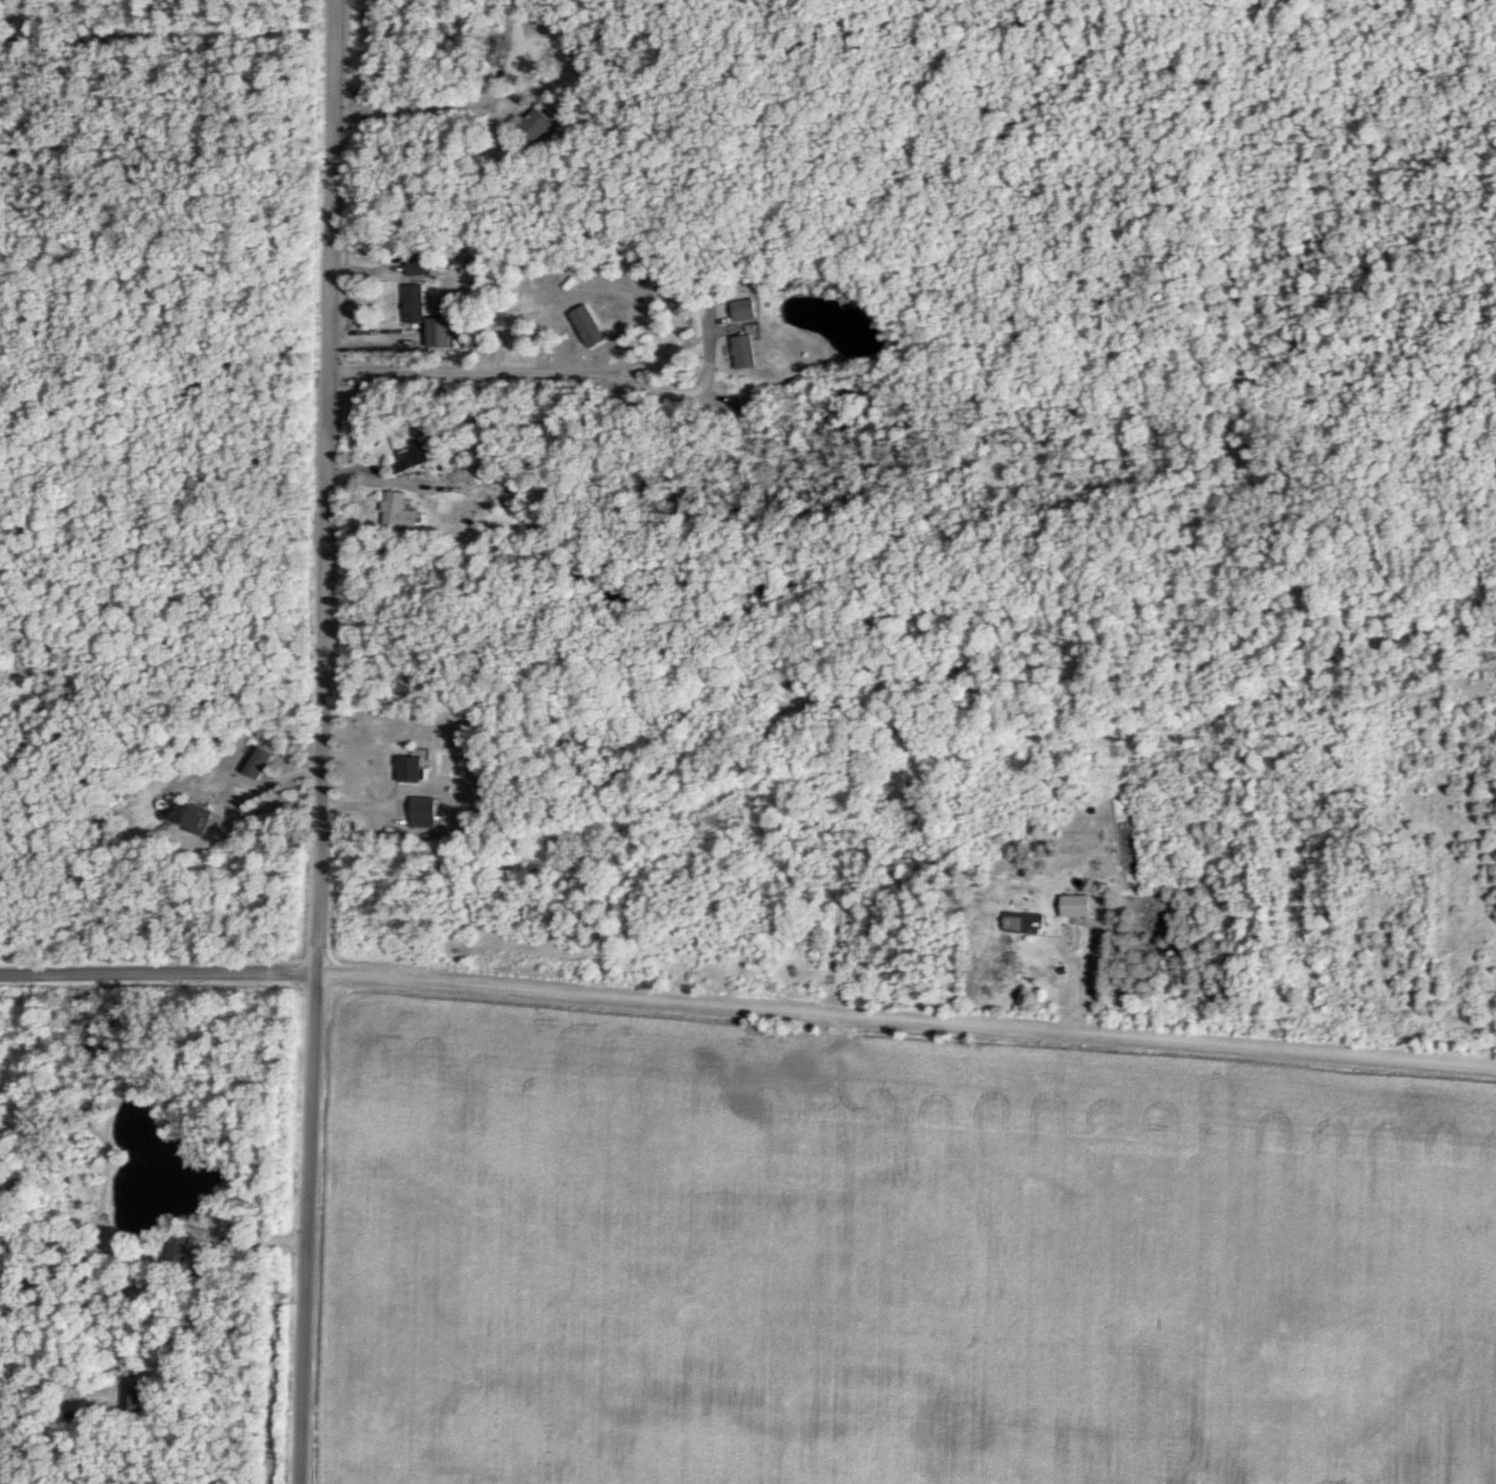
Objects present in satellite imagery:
road: (431, 105)
building: (546, 121)
building: (421, 265)
building: (419, 303)
road: (503, 326)
building: (610, 329)
road: (374, 338)
building: (748, 352)
road: (550, 379)
building: (412, 455)
building: (413, 519)
road: (324, 742)
building: (262, 760)
building: (416, 769)
road: (264, 784)
building: (434, 810)
building: (196, 817)
building: (1071, 904)
building: (1021, 921)
road: (748, 1007)
road: (256, 1239)
building: (139, 1396)

